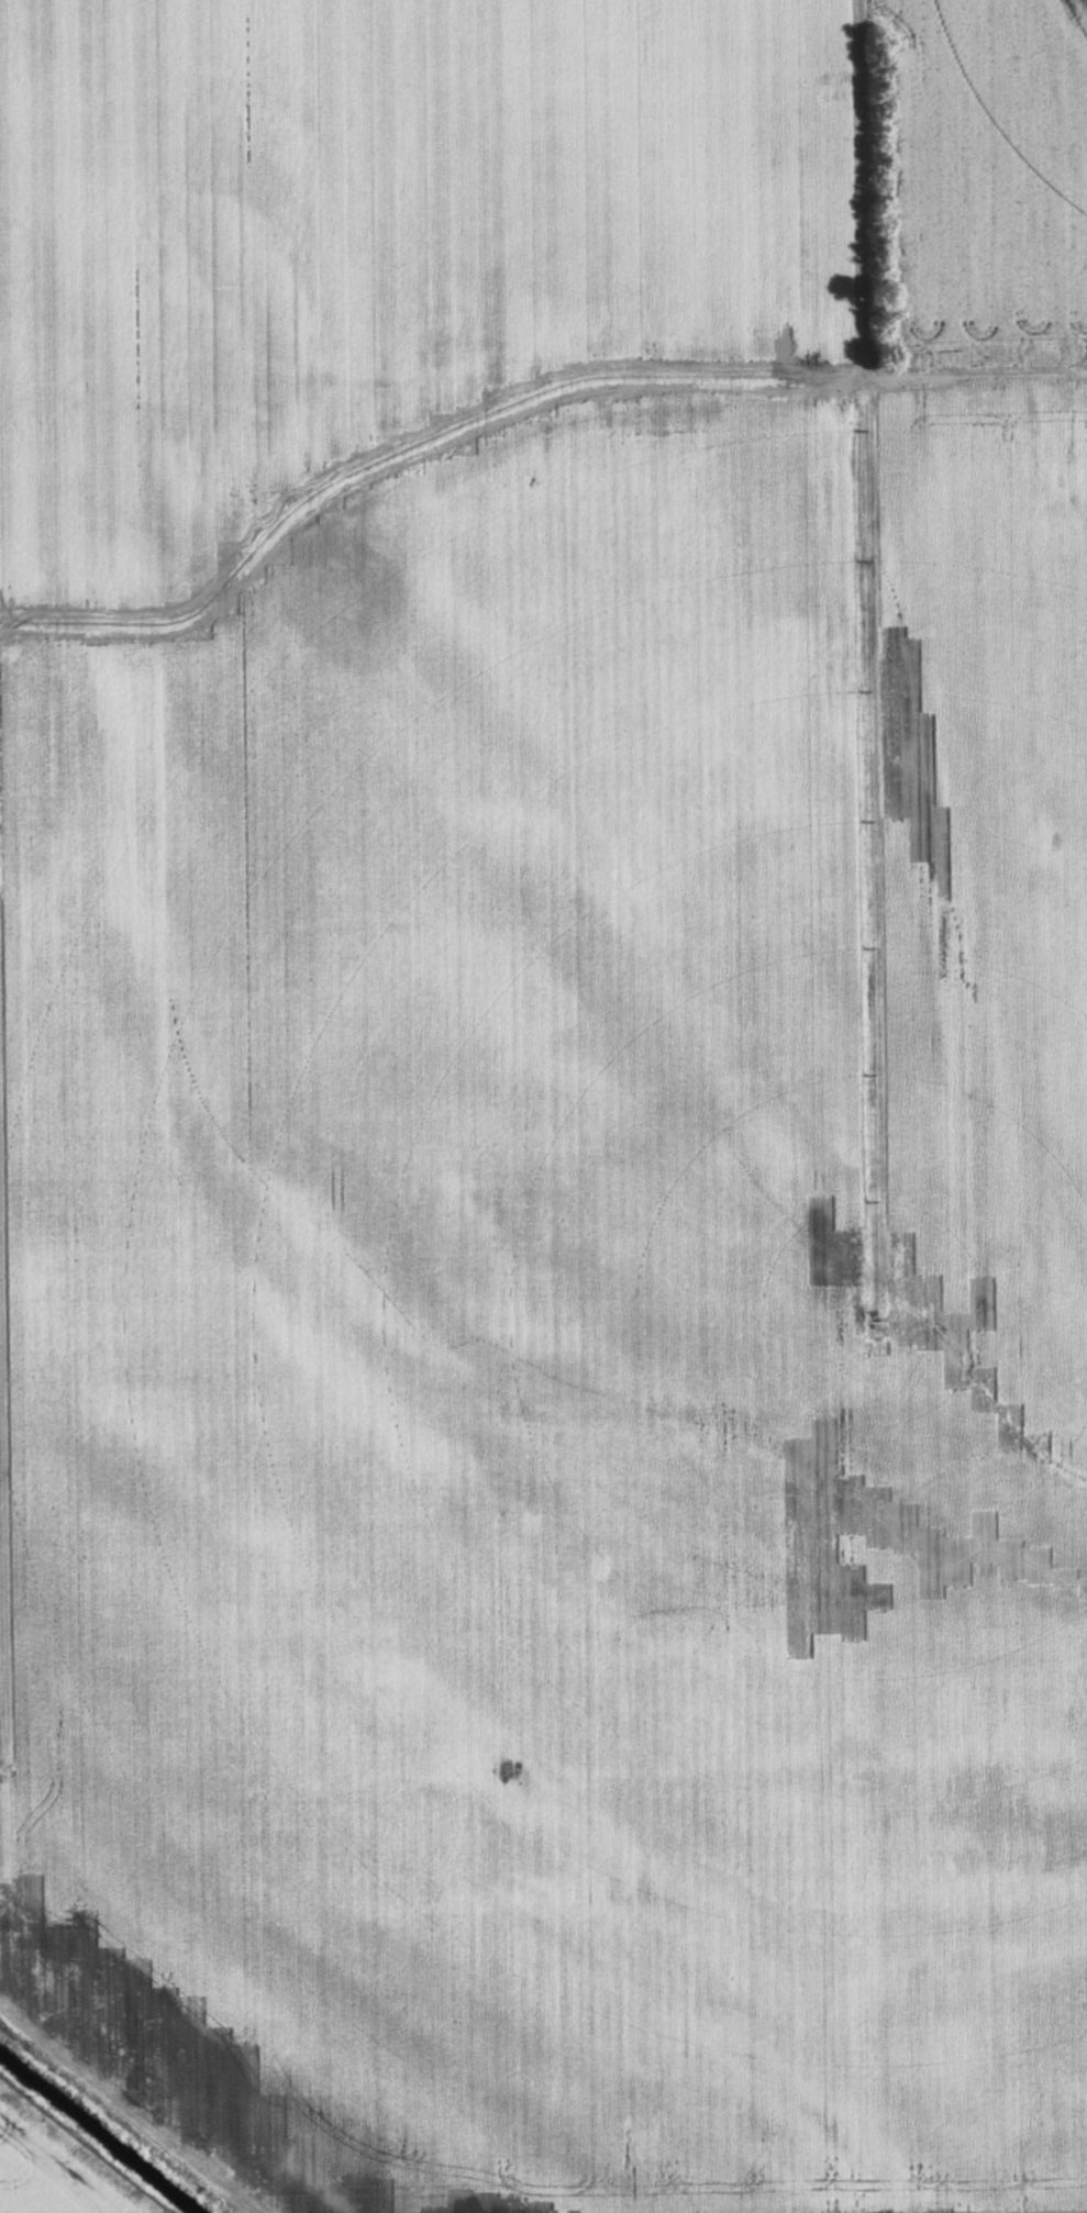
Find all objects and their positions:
road: (836, 304)

